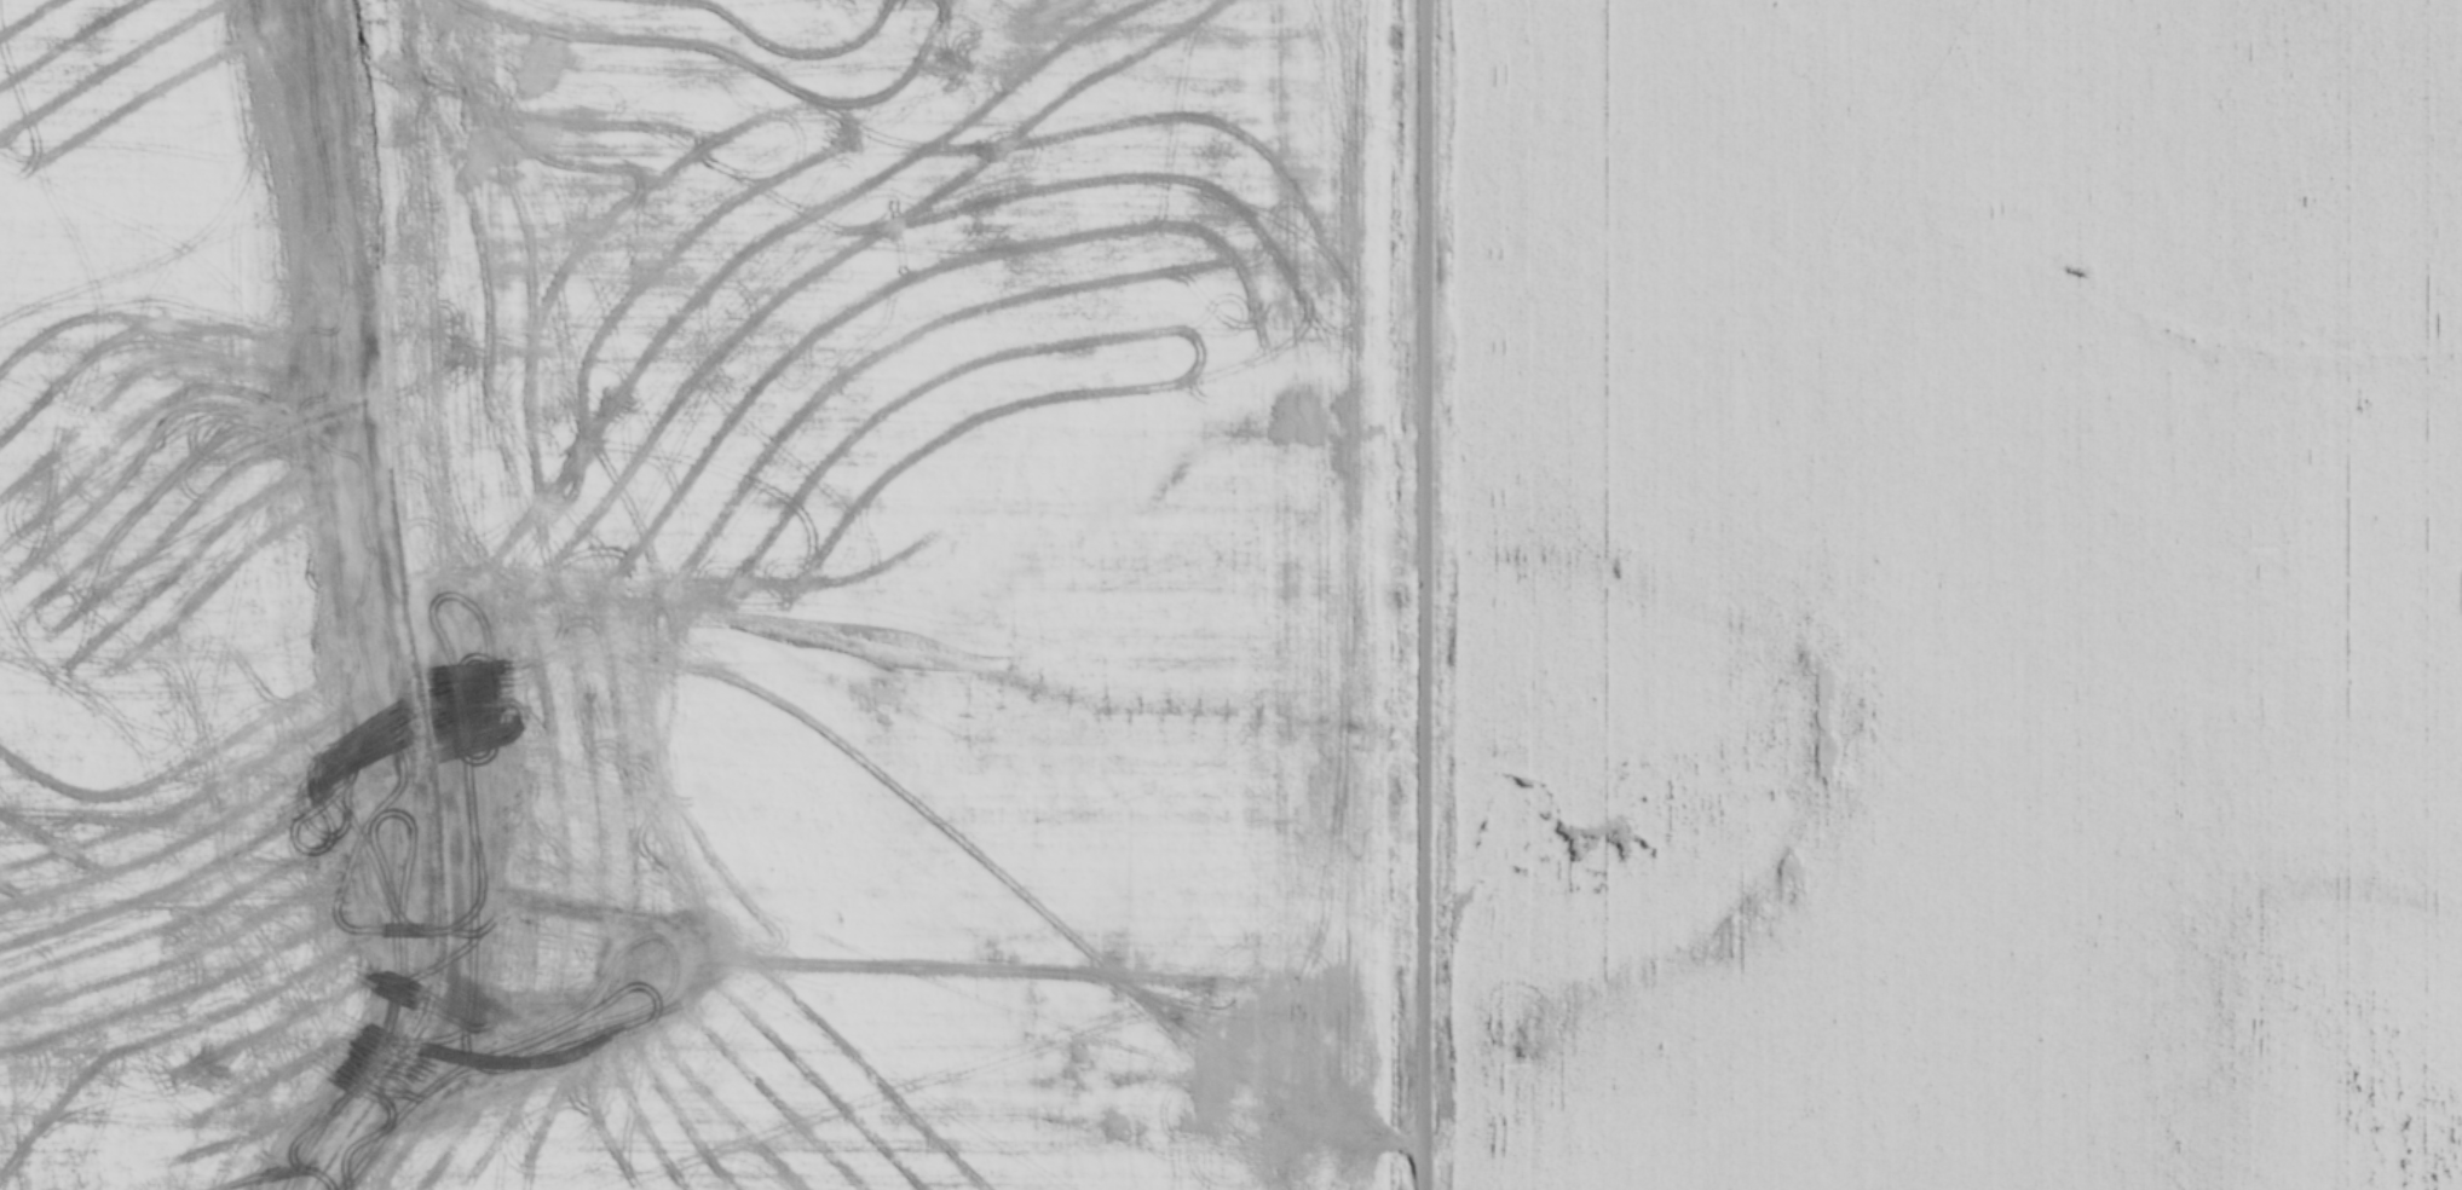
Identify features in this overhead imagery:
road: (1425, 595)

